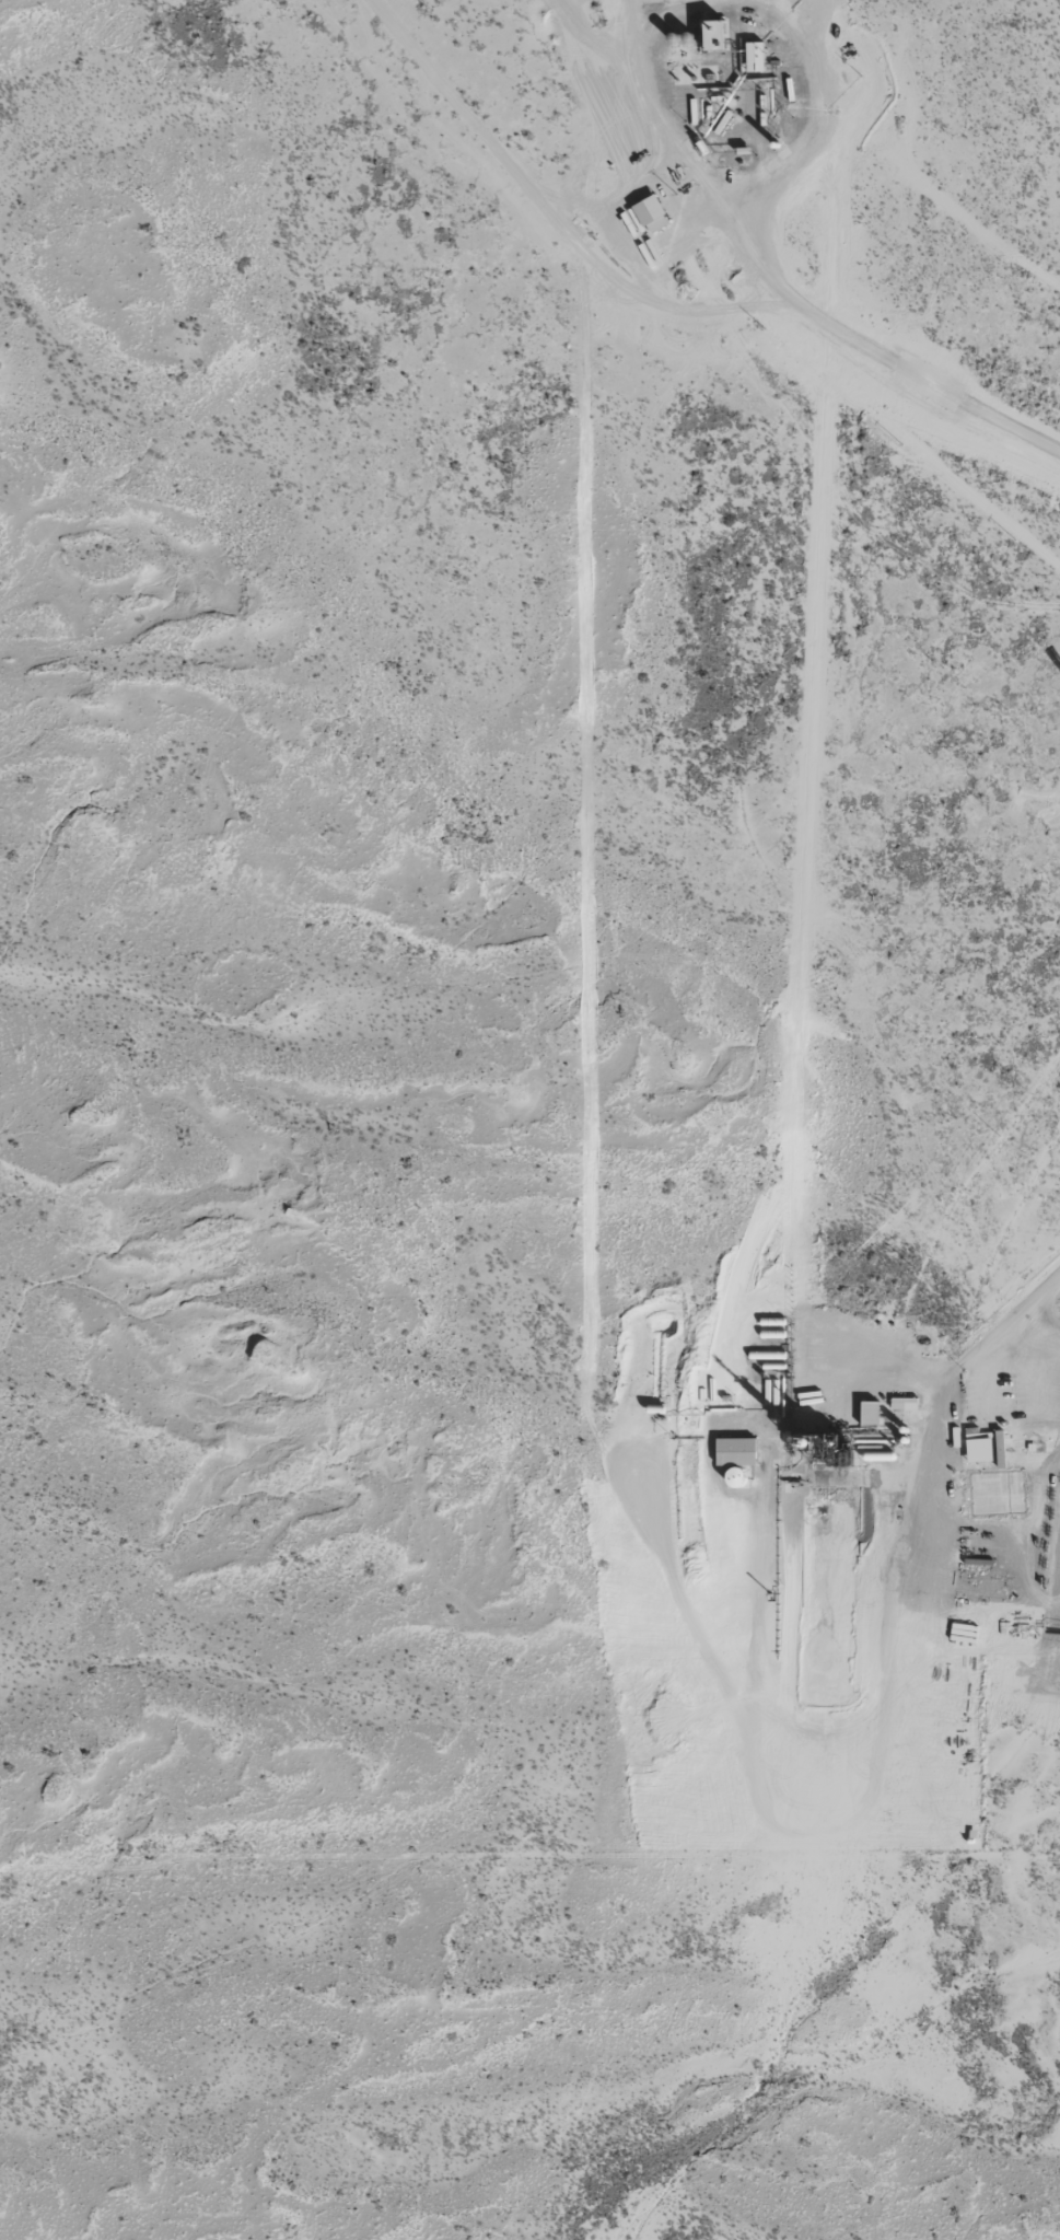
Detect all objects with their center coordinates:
road: (803, 219)
road: (1026, 1328)
road: (988, 1335)

